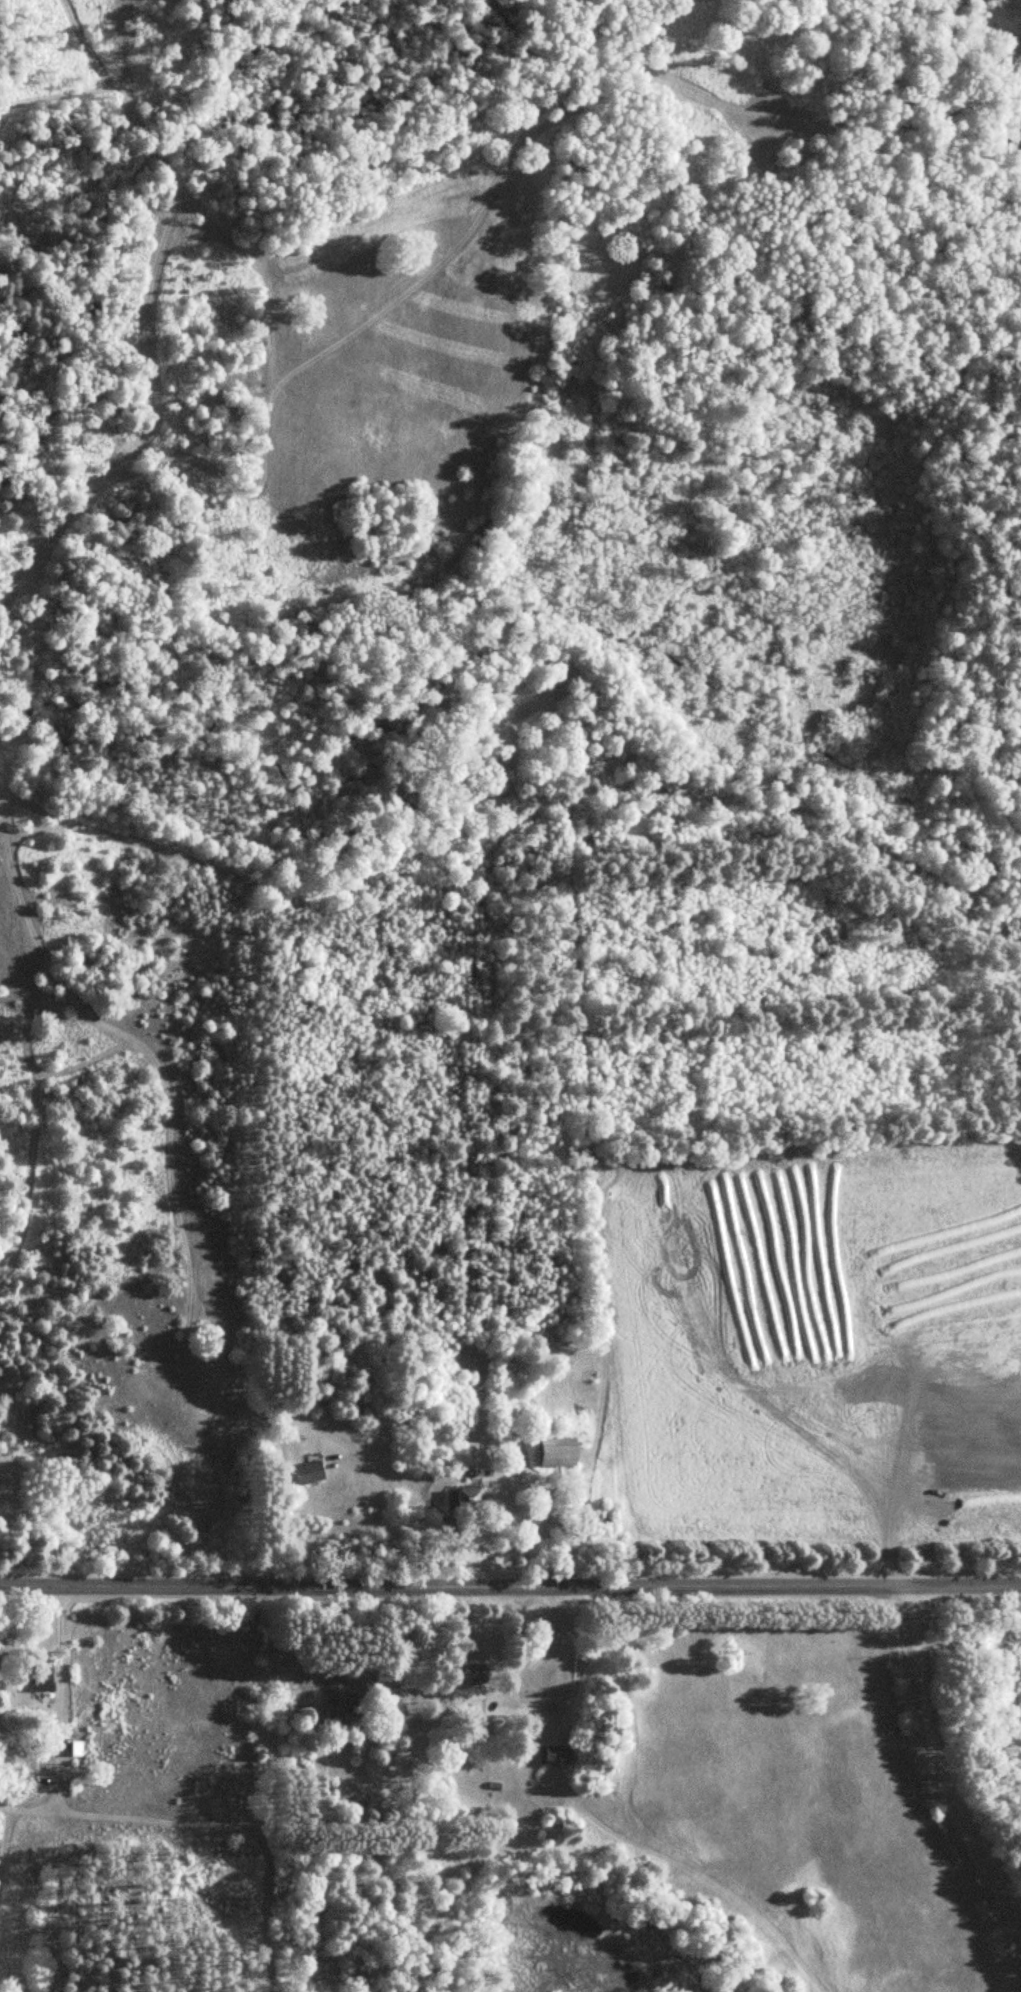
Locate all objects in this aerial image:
building: (563, 1451)
building: (311, 1471)
building: (470, 1495)
road: (510, 1583)
building: (473, 1673)
building: (43, 1674)
building: (345, 1701)
building: (80, 1748)
building: (557, 1756)
road: (937, 1762)

